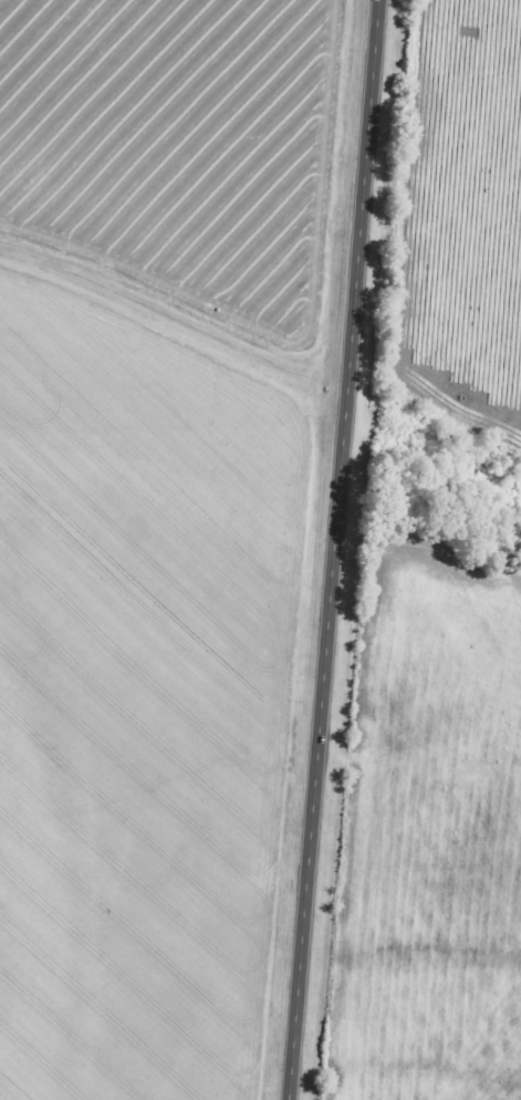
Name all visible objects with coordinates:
road: (332, 550)

